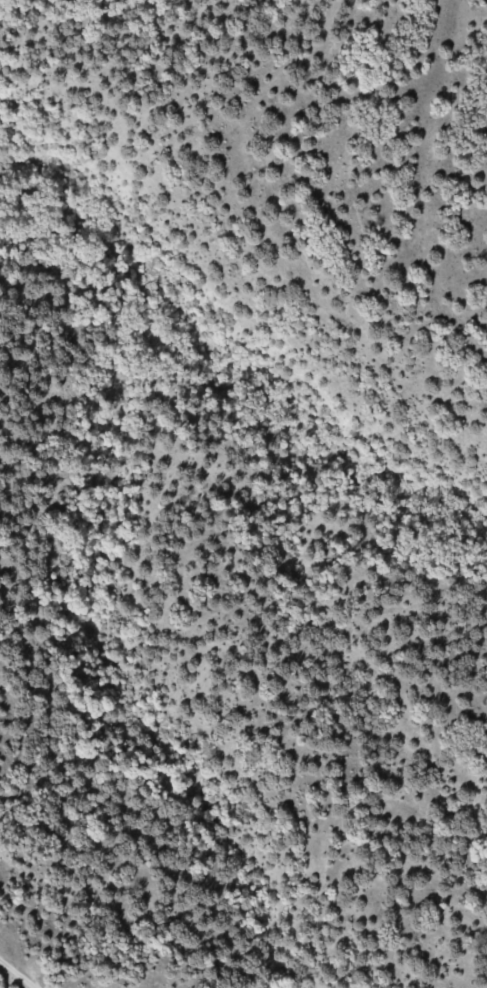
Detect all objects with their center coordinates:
road: (14, 977)

